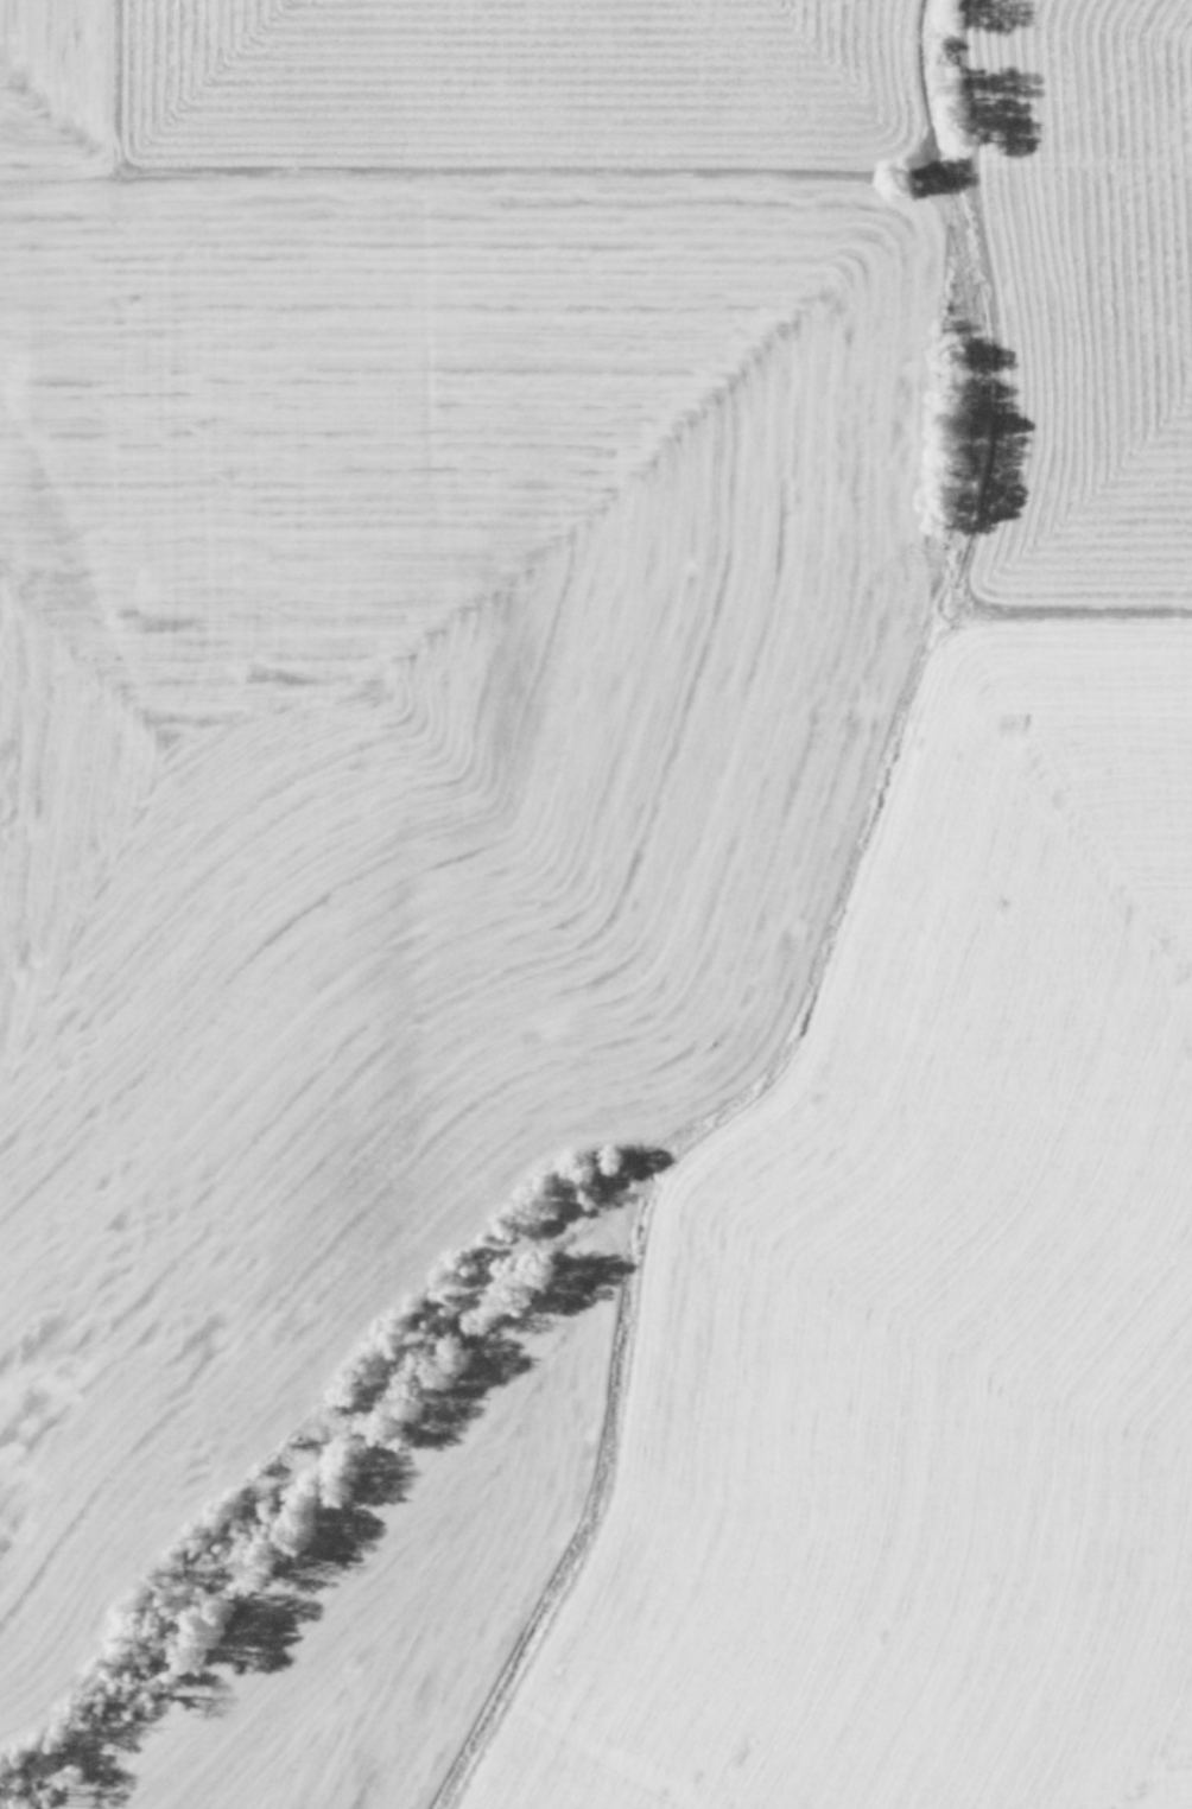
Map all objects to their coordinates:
crop: (596, 904)

